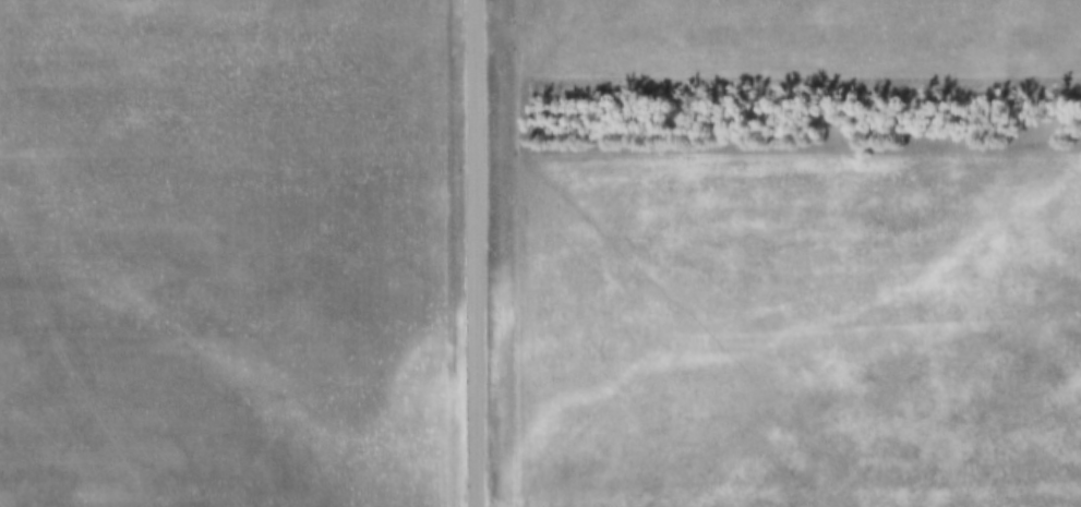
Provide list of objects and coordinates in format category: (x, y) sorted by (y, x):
road: (477, 253)

